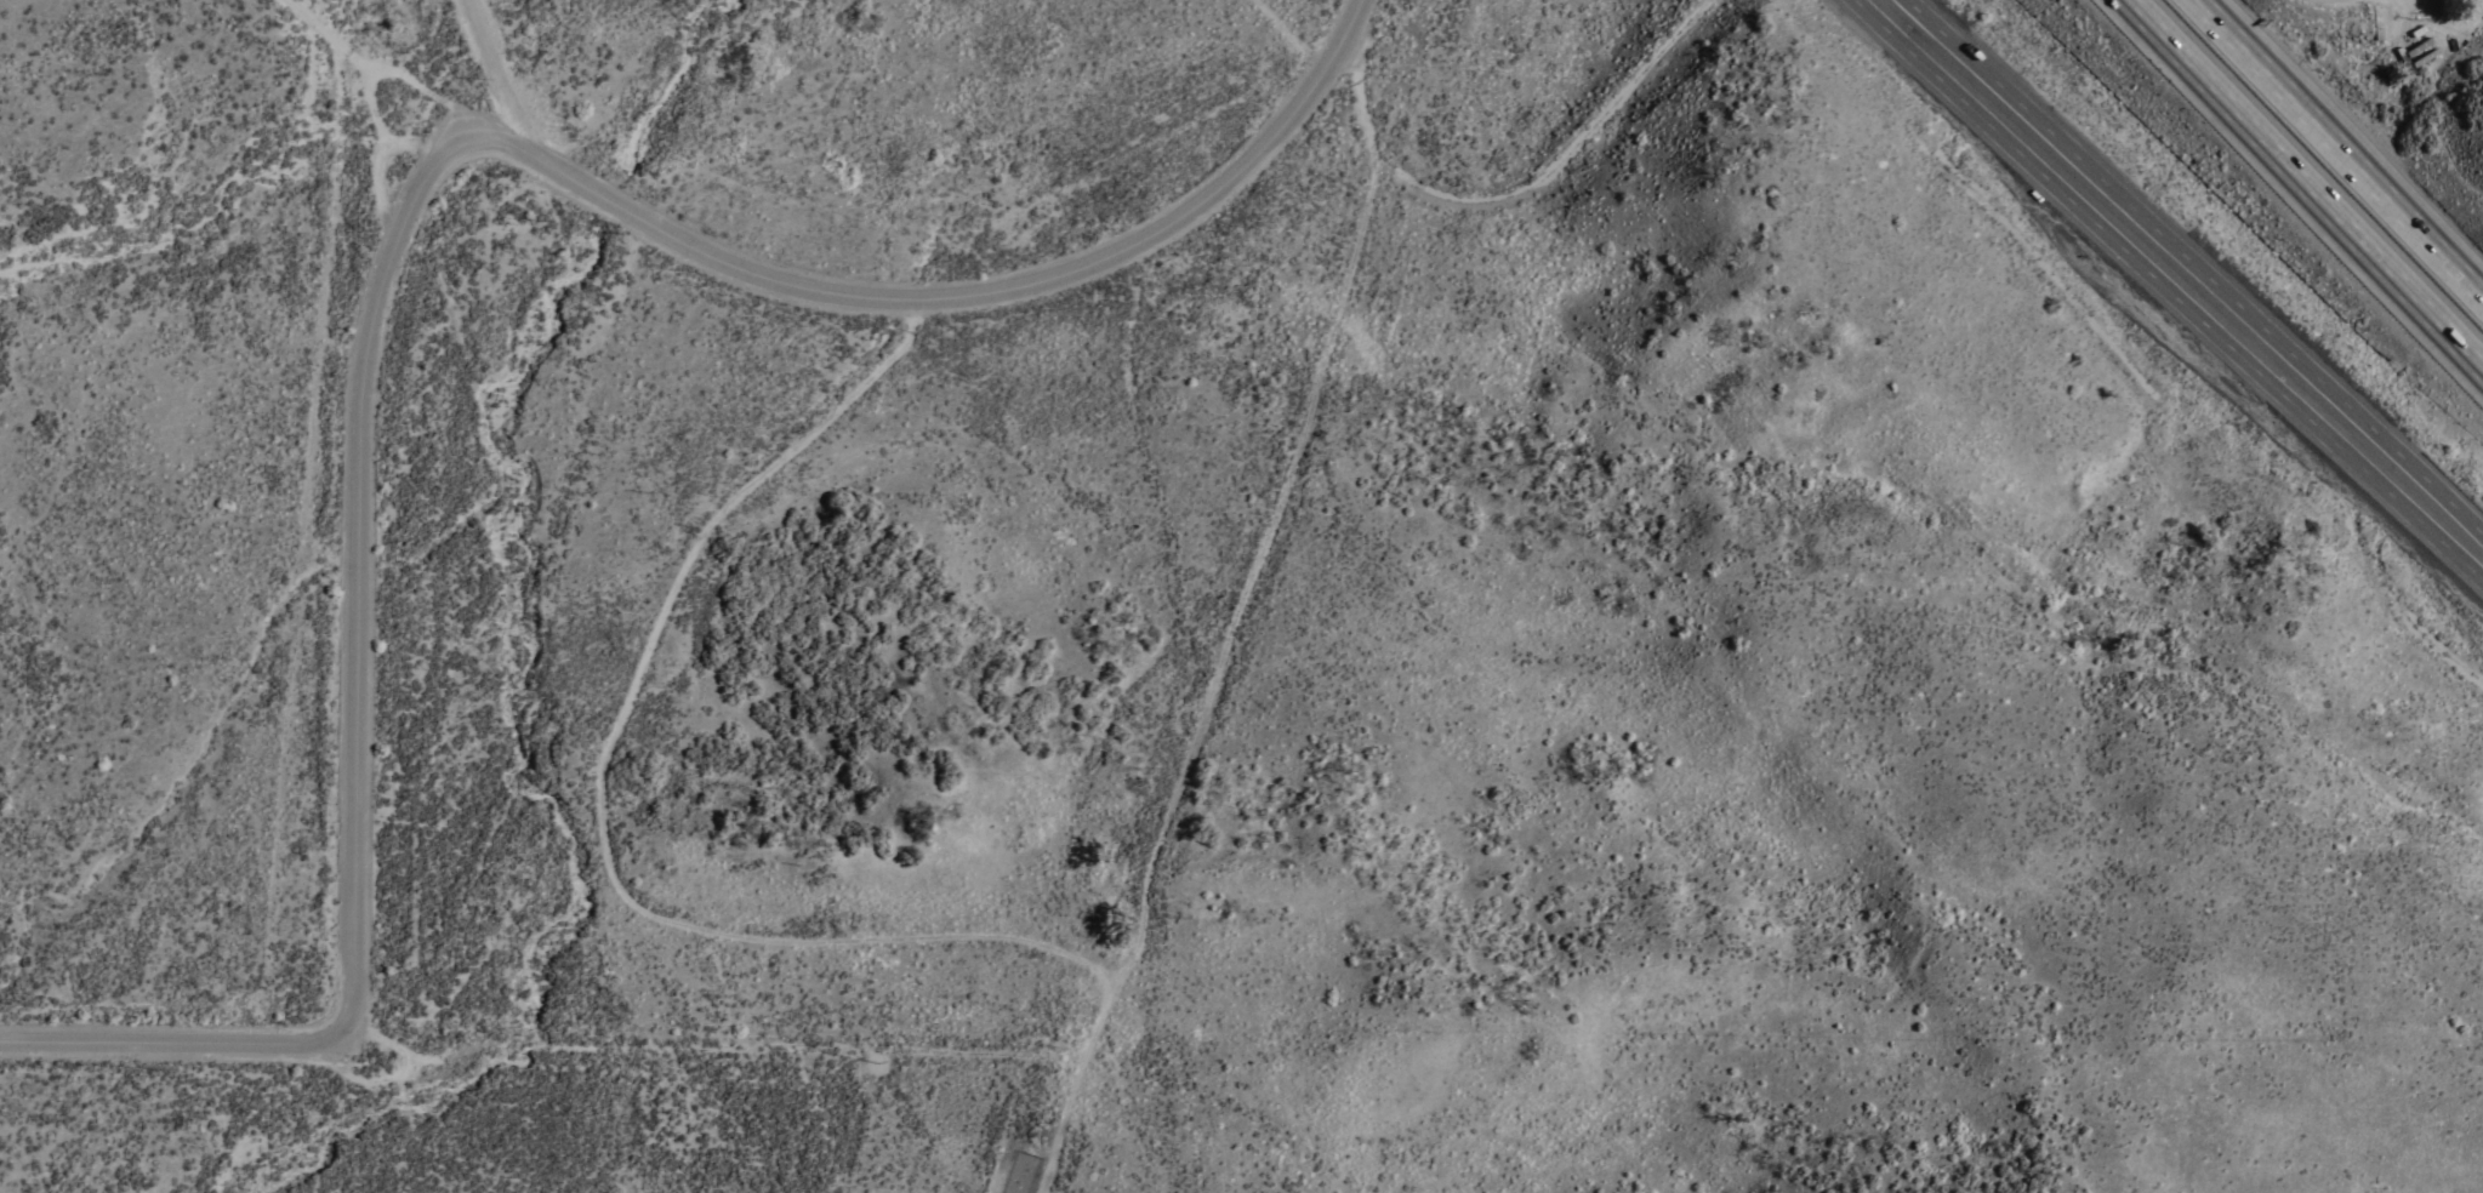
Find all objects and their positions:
road: (381, 68)
road: (369, 105)
road: (2340, 148)
road: (381, 161)
road: (2305, 184)
road: (1511, 198)
road: (409, 234)
road: (2198, 263)
road: (2169, 290)
road: (1219, 681)
road: (604, 792)

